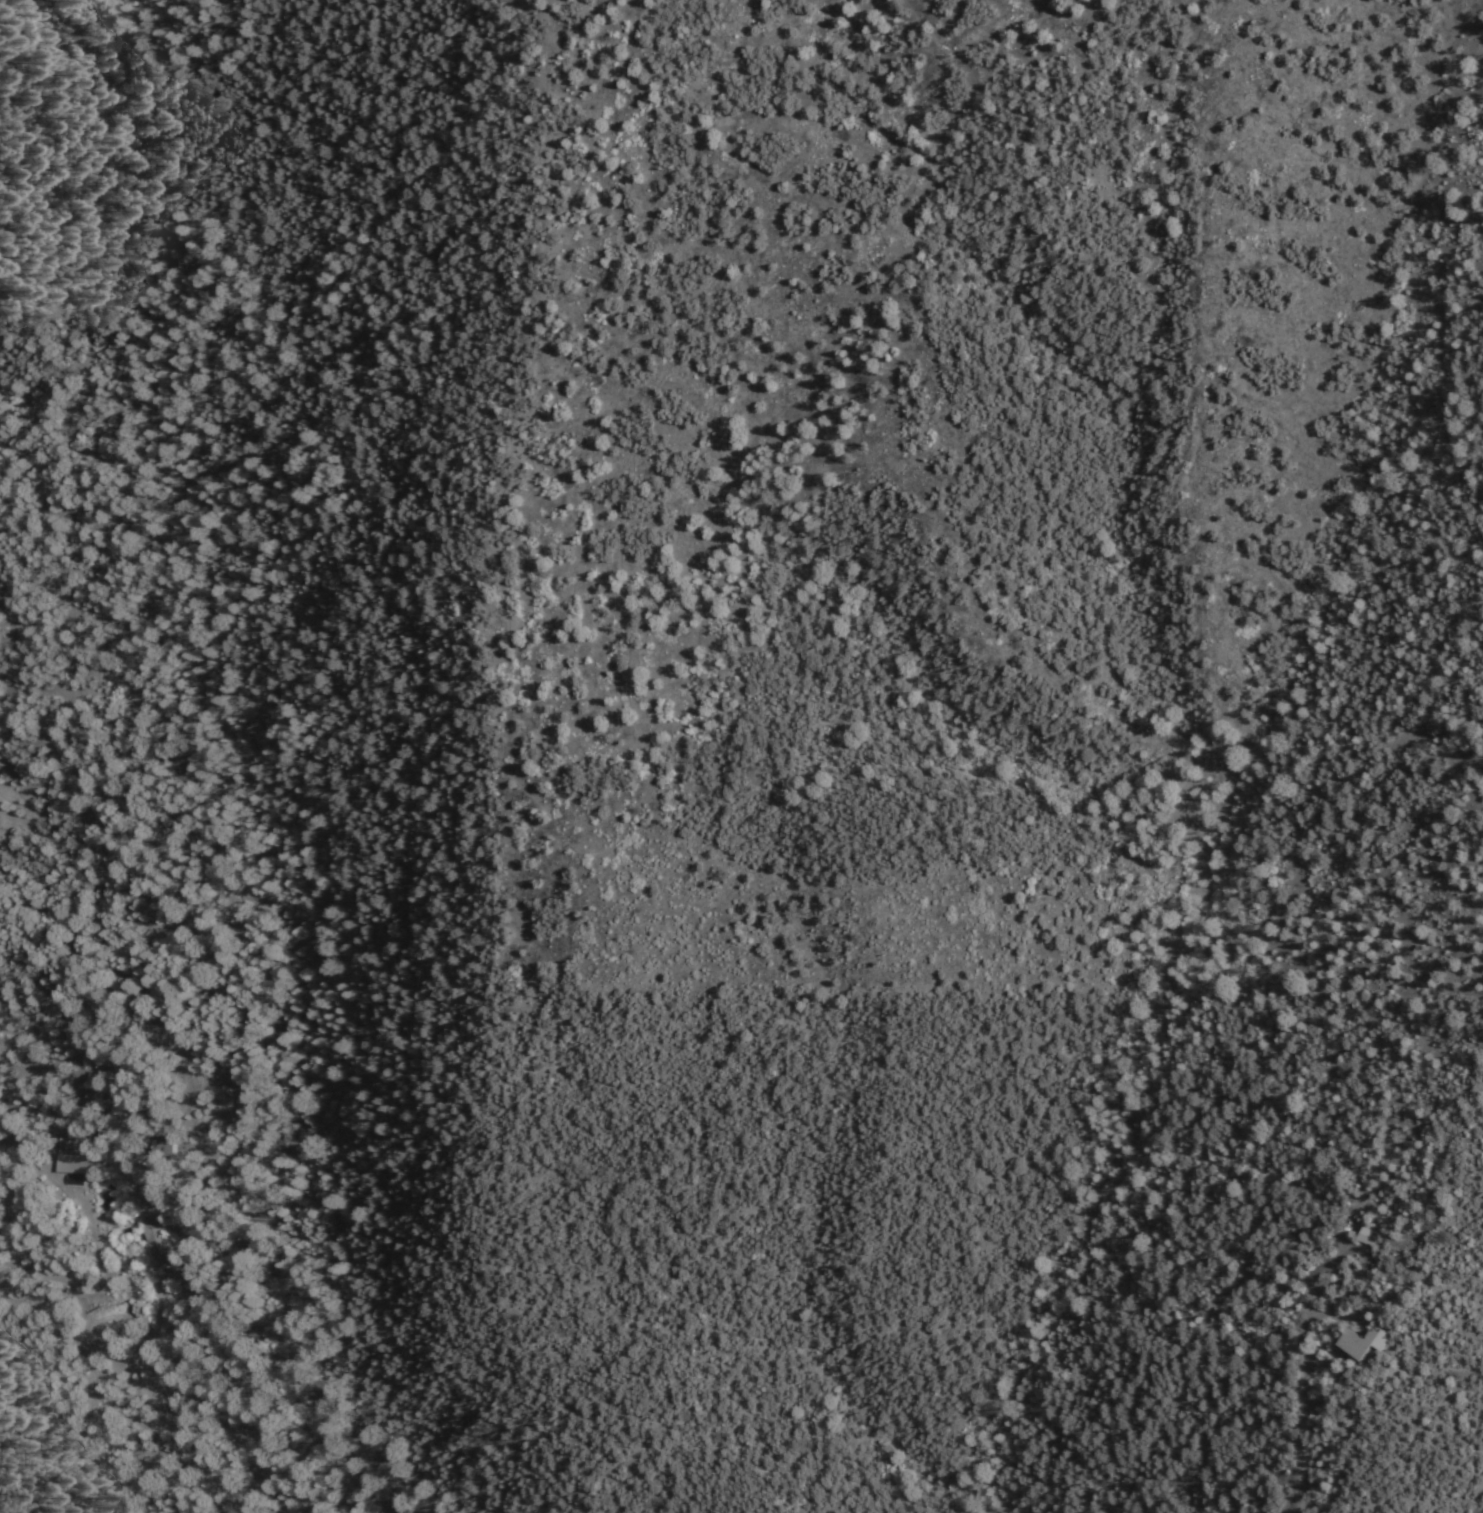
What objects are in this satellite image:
road: (917, 8)
road: (1002, 32)
road: (618, 835)
road: (69, 1115)
building: (170, 1143)
building: (81, 1161)
building: (168, 1236)
building: (1370, 1239)
building: (160, 1245)
road: (127, 1317)
road: (63, 1327)
building: (1368, 1345)
road: (1302, 1410)

